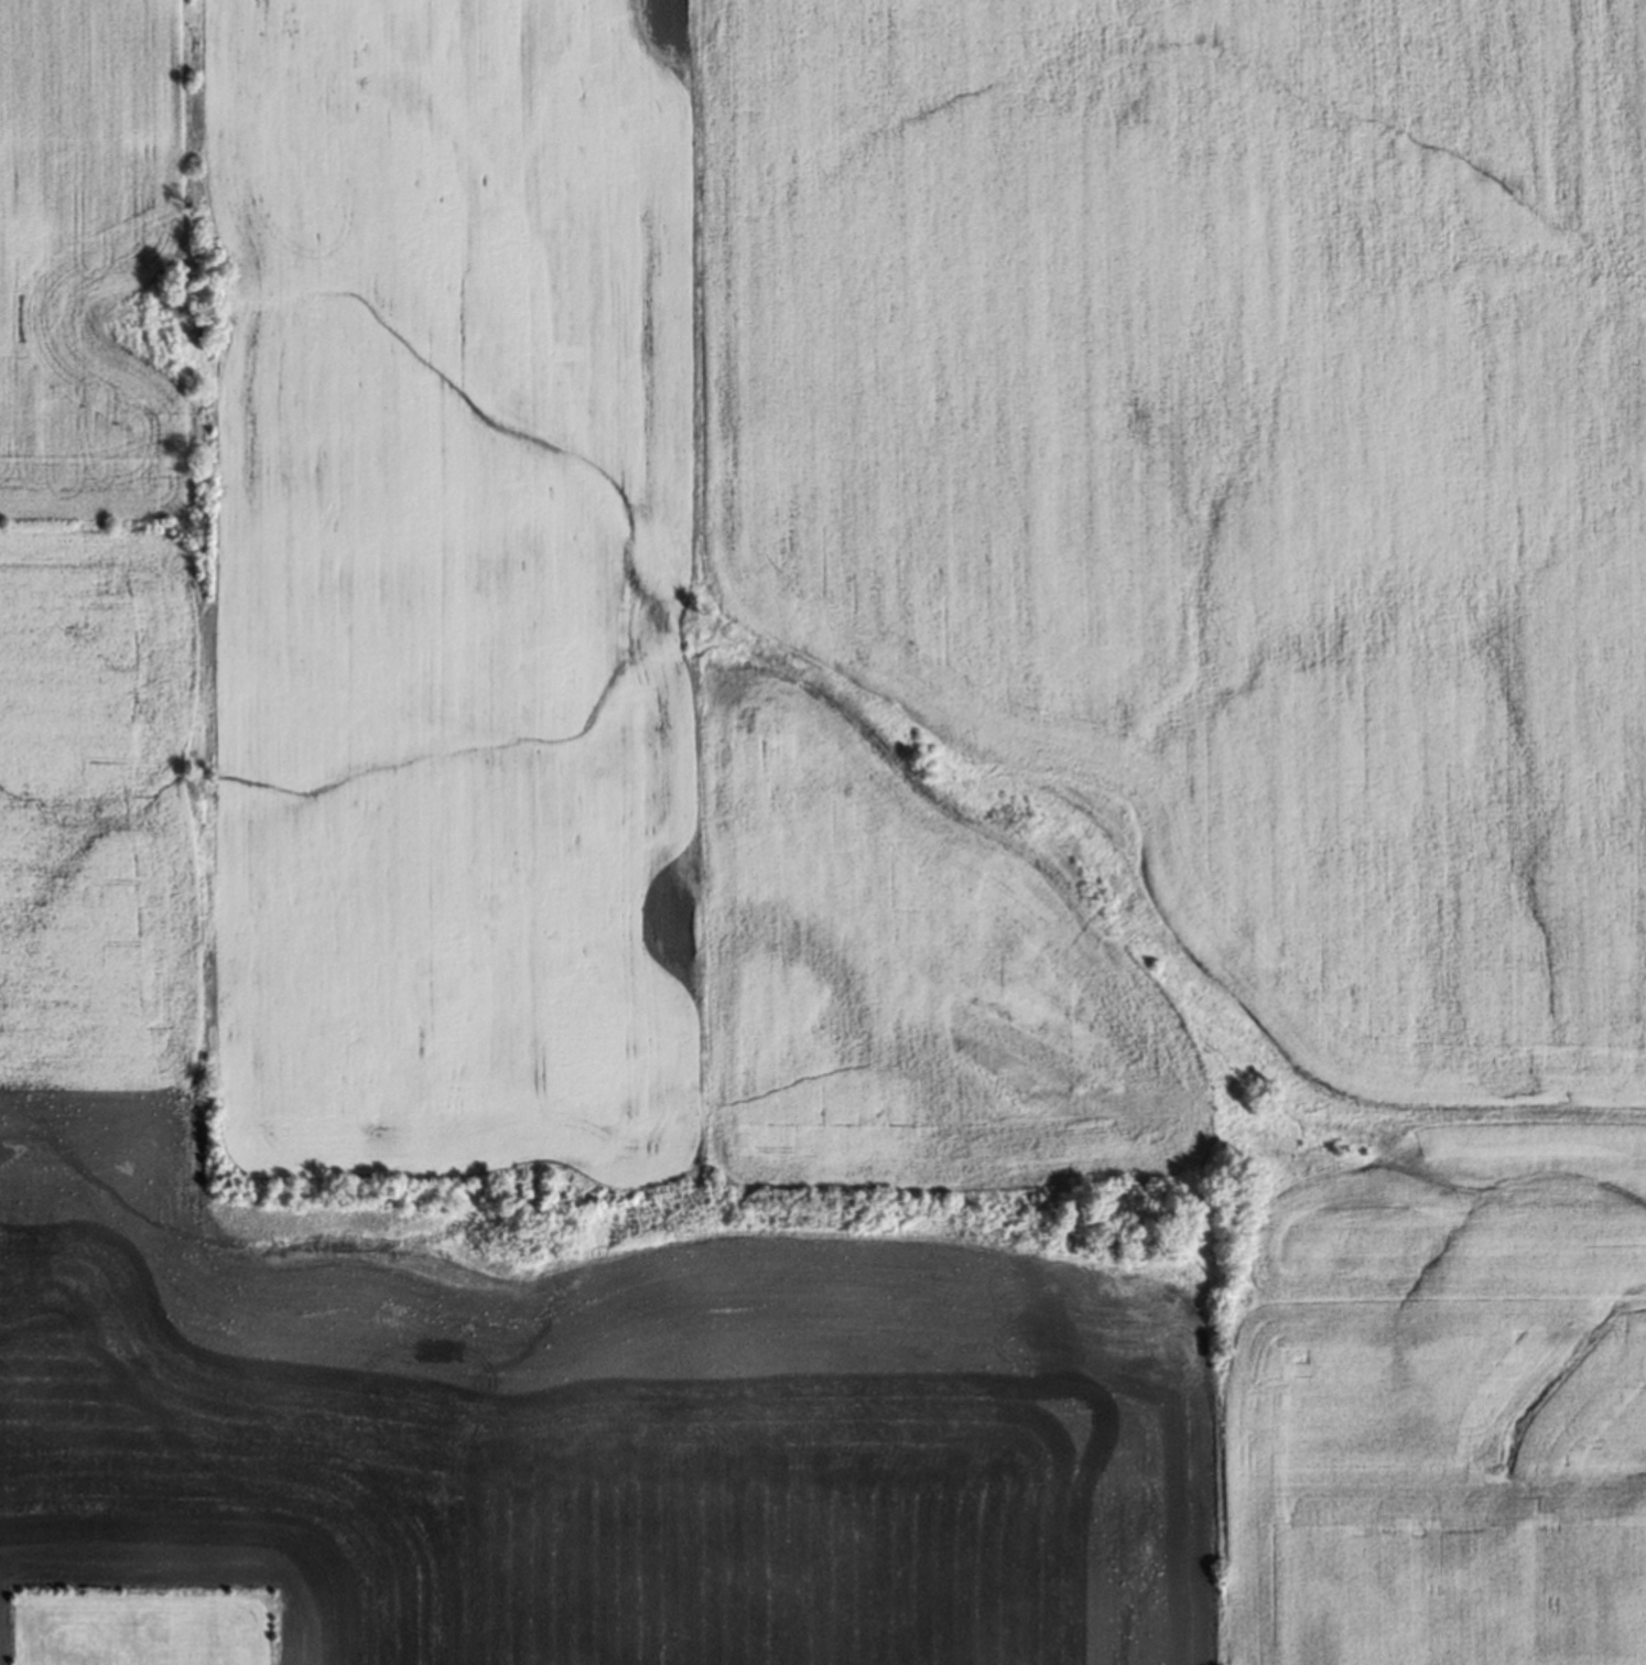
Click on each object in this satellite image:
crop: (105, 269)
crop: (1213, 471)
crop: (448, 574)
crop: (109, 811)
crop: (912, 991)
crop: (1472, 1208)
crop: (556, 1444)
crop: (1437, 1488)

